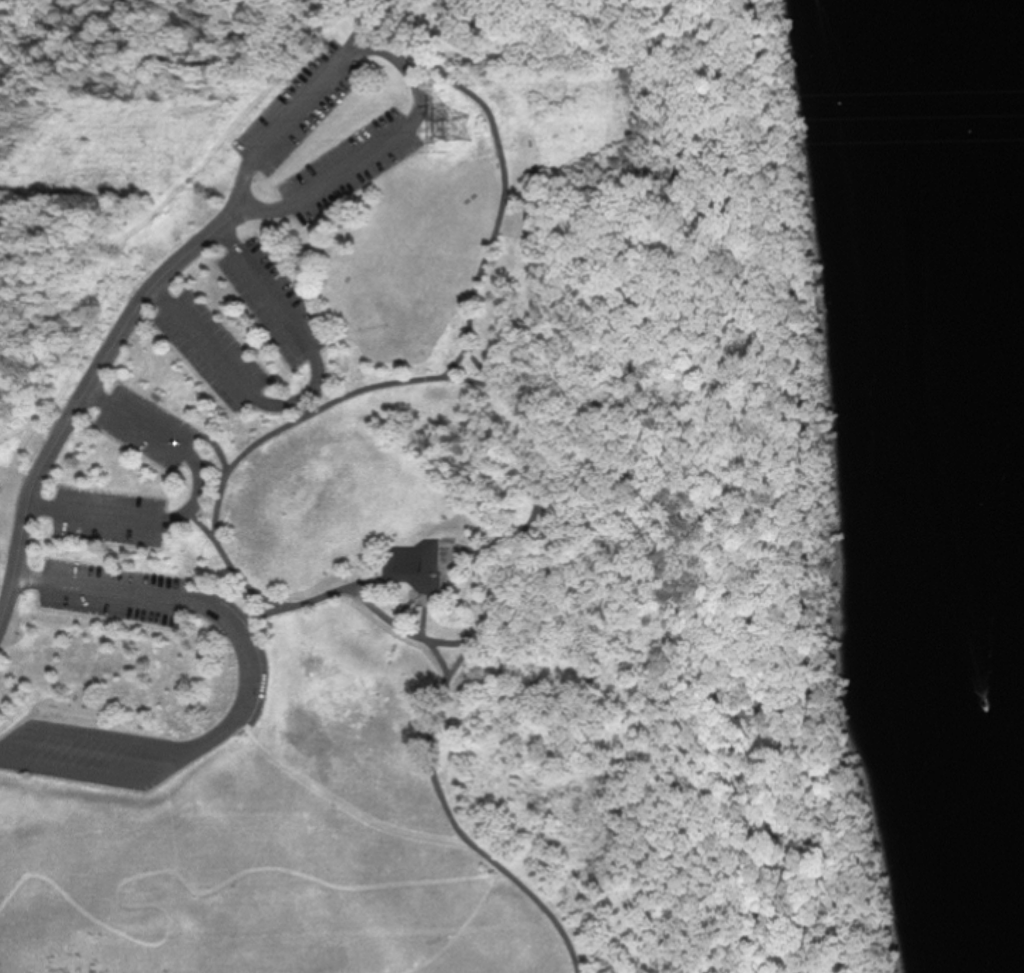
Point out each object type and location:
road: (377, 28)
road: (44, 34)
road: (380, 54)
parking lot: (299, 106)
power tower: (457, 127)
parking lot: (348, 163)
road: (267, 296)
parking lot: (275, 309)
road: (202, 342)
parking lot: (212, 356)
road: (472, 361)
road: (453, 368)
road: (80, 394)
road: (302, 405)
road: (135, 420)
parking lot: (145, 427)
road: (281, 433)
road: (216, 447)
road: (805, 486)
road: (197, 493)
park: (424, 496)
road: (94, 513)
parking lot: (108, 516)
road: (7, 554)
building: (423, 571)
road: (365, 586)
road: (98, 592)
parking lot: (114, 596)
road: (291, 613)
road: (381, 618)
road: (423, 622)
road: (252, 690)
road: (157, 749)
parking lot: (86, 759)
road: (155, 770)
road: (312, 782)
road: (454, 821)
road: (230, 879)
road: (557, 896)

